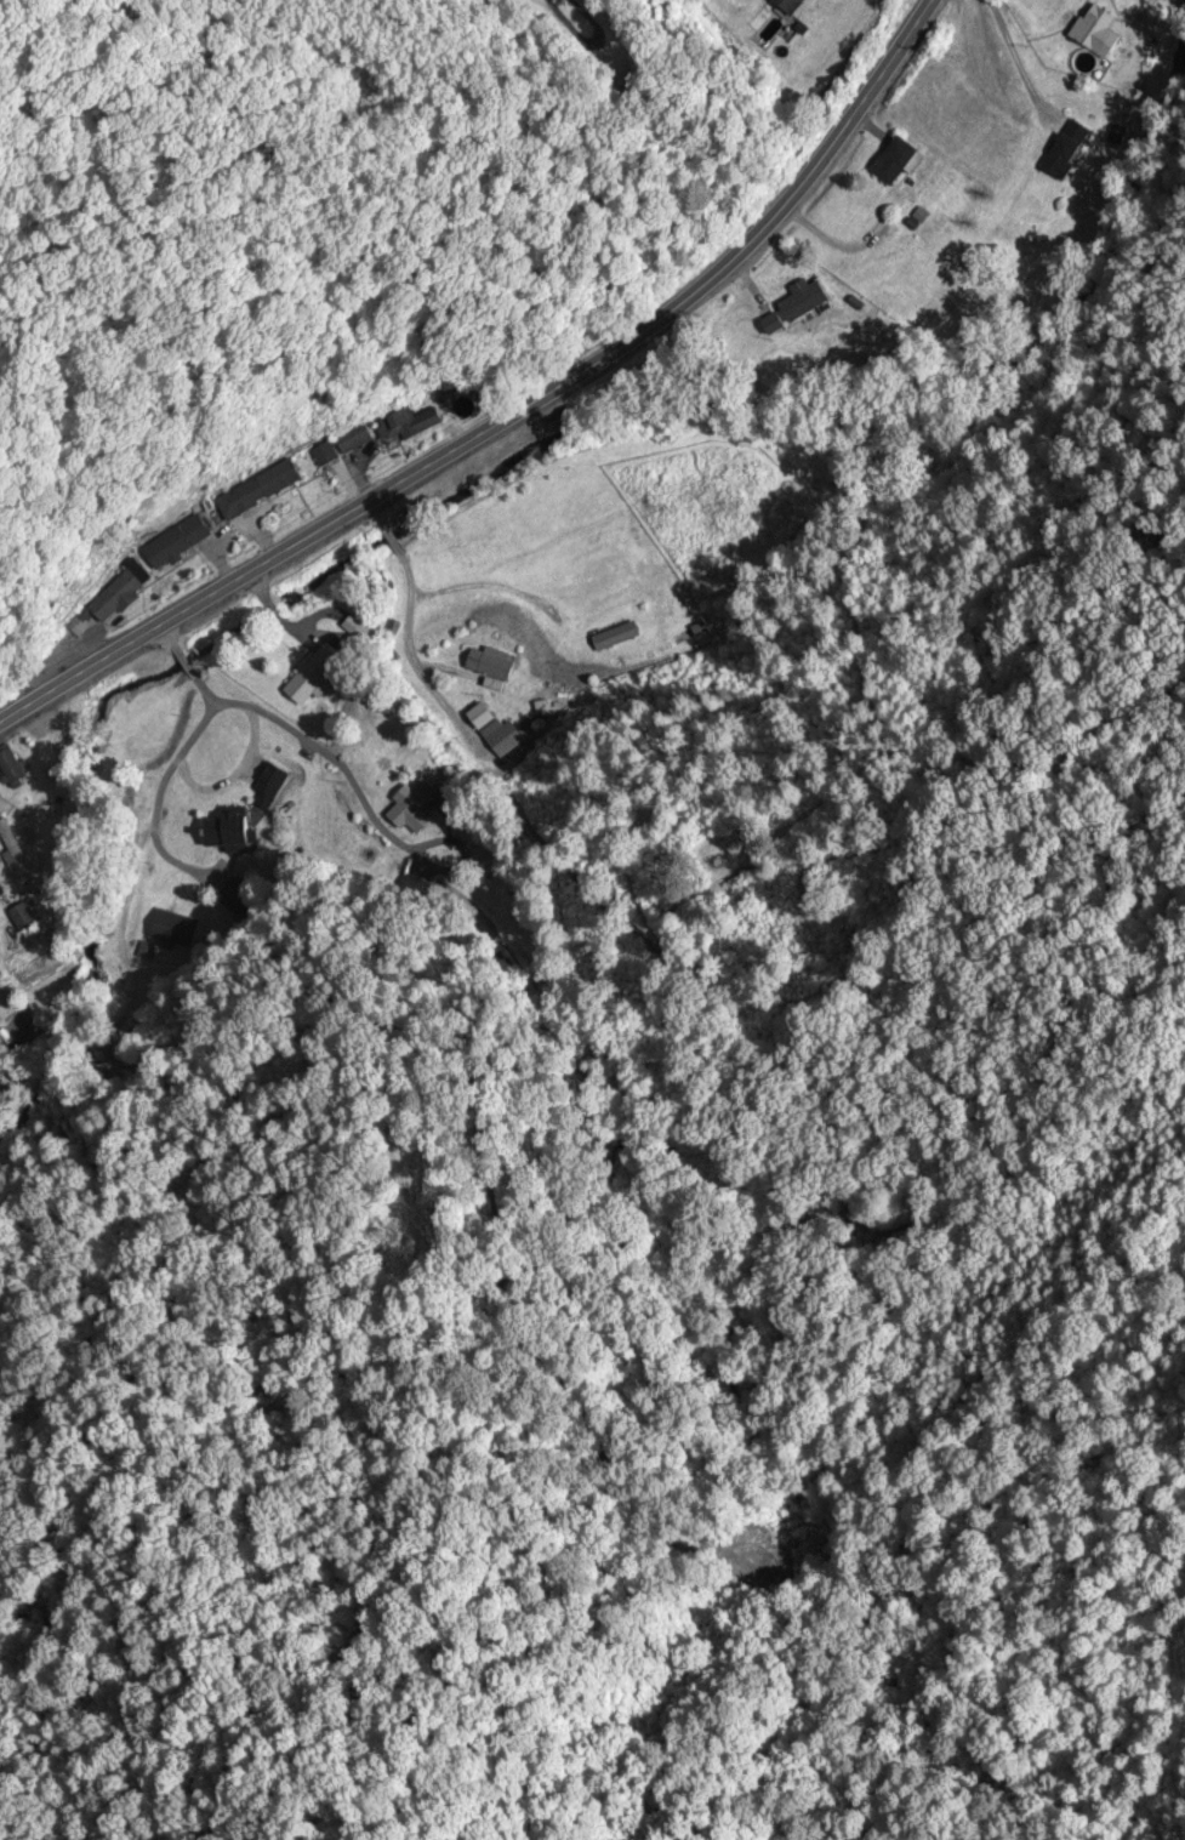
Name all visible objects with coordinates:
building: (984, 115)
building: (1067, 150)
building: (898, 161)
road: (513, 414)
building: (403, 429)
building: (338, 448)
building: (270, 485)
building: (315, 674)
building: (12, 848)
building: (24, 917)
building: (22, 1031)

